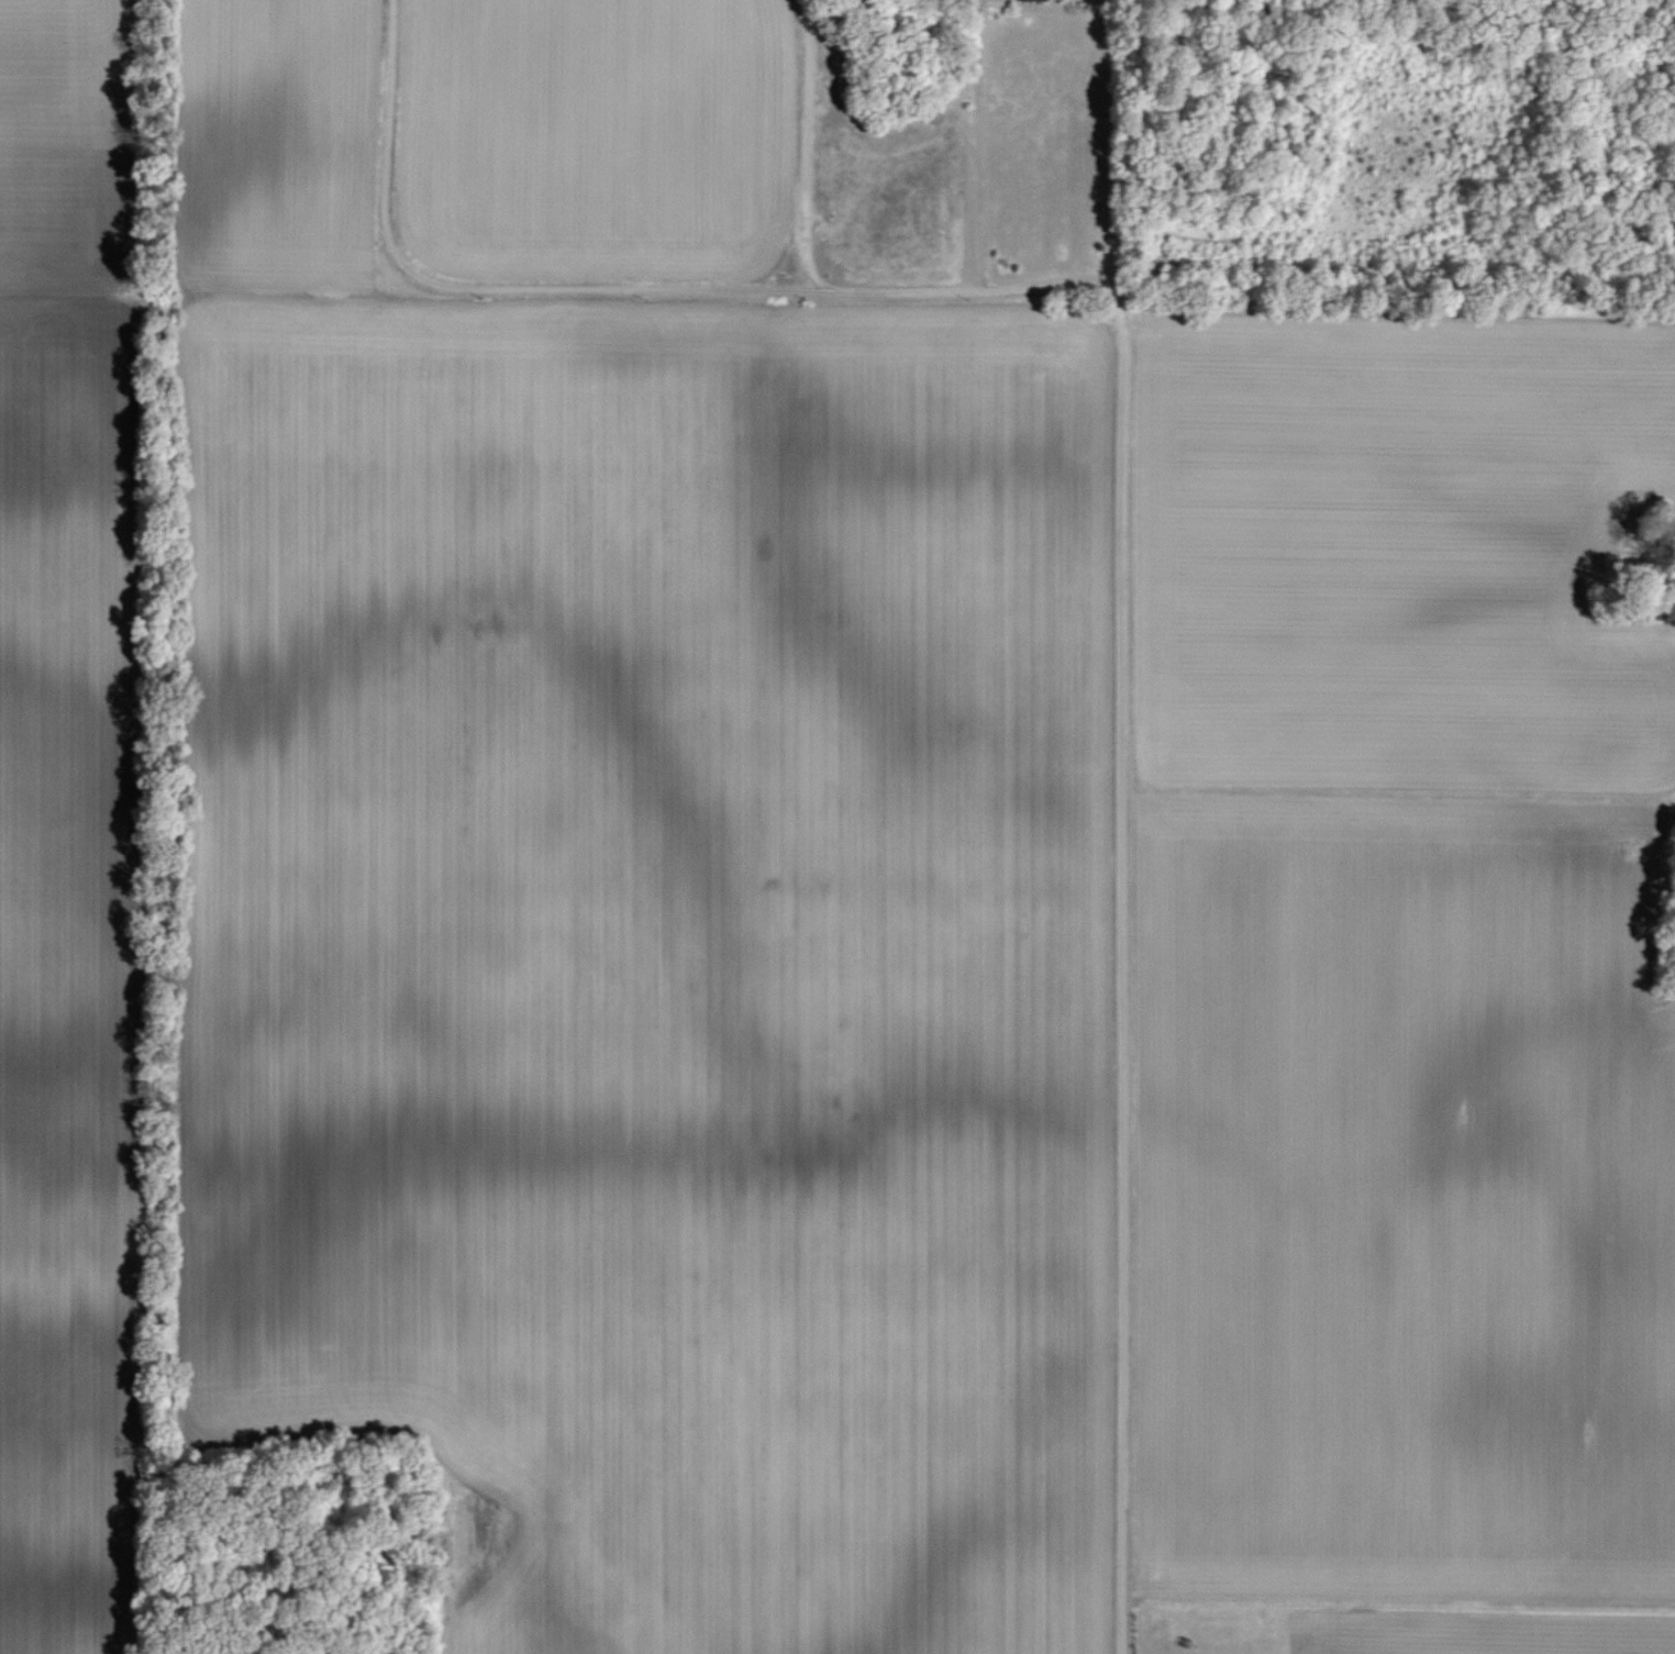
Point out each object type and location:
road: (801, 147)
road: (974, 151)
road: (1112, 473)

